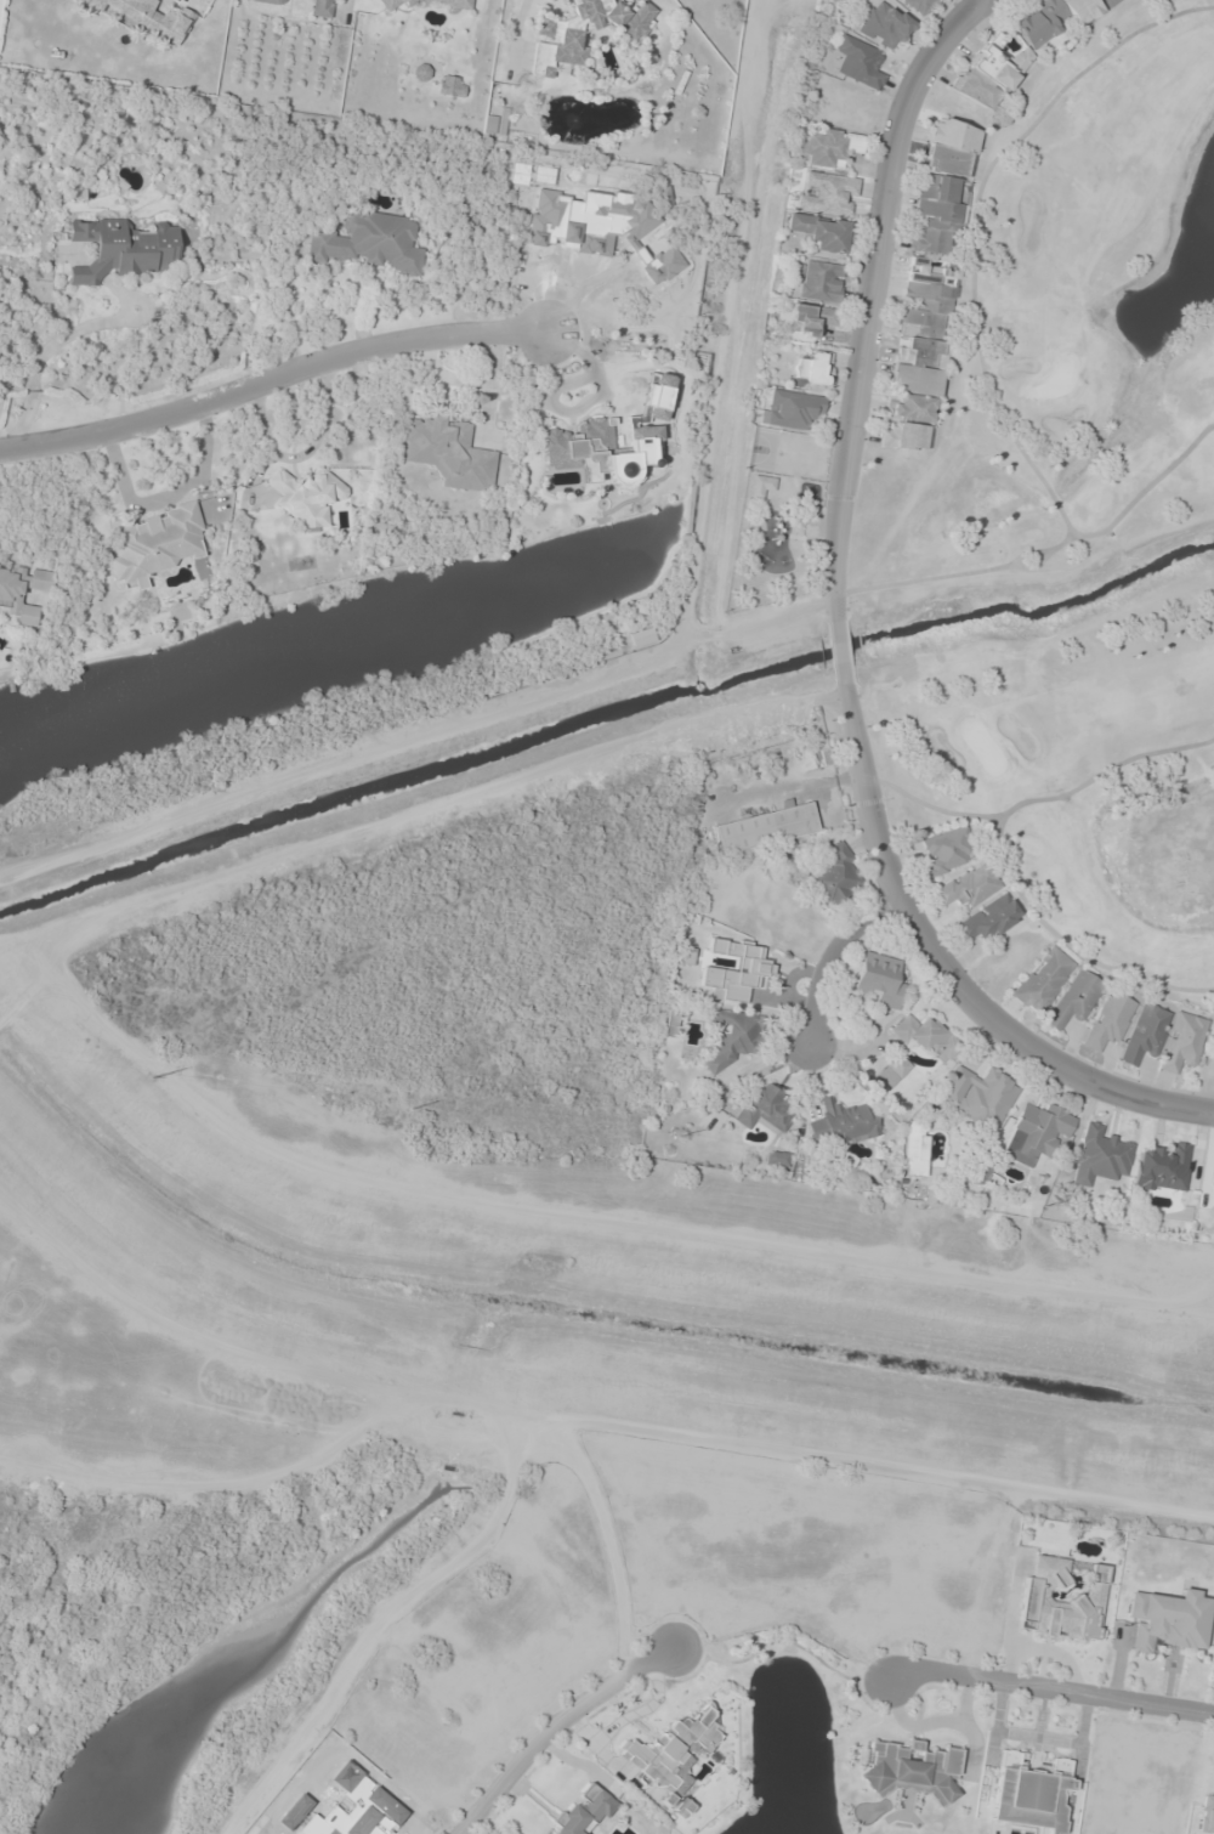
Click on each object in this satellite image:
building: (271, 1)
building: (453, 2)
building: (917, 5)
building: (320, 9)
building: (144, 17)
building: (884, 24)
building: (557, 35)
building: (858, 63)
building: (420, 72)
building: (991, 72)
building: (450, 86)
building: (830, 146)
building: (943, 187)
building: (827, 193)
building: (664, 200)
building: (599, 222)
building: (819, 232)
building: (368, 242)
building: (123, 249)
building: (821, 281)
building: (811, 318)
building: (918, 355)
building: (812, 369)
road: (268, 377)
building: (790, 409)
building: (635, 438)
building: (582, 448)
building: (448, 453)
building: (761, 485)
building: (308, 496)
river: (679, 499)
river: (676, 521)
building: (157, 542)
building: (22, 590)
road: (839, 638)
river: (337, 641)
building: (765, 828)
building: (946, 850)
building: (834, 877)
building: (966, 887)
building: (985, 919)
road: (824, 967)
building: (733, 968)
building: (879, 979)
building: (1043, 979)
building: (1073, 1001)
building: (1110, 1019)
building: (1144, 1032)
building: (925, 1034)
building: (733, 1036)
building: (1182, 1042)
building: (892, 1070)
building: (978, 1096)
building: (766, 1109)
building: (843, 1122)
building: (1037, 1132)
building: (914, 1150)
building: (1099, 1156)
building: (776, 1159)
building: (1163, 1168)
building: (1213, 1202)
building: (1059, 1601)
building: (1167, 1620)
road: (1049, 1688)
road: (551, 1725)
building: (673, 1750)
building: (909, 1770)
building: (1029, 1793)
building: (681, 1808)
building: (582, 1811)

